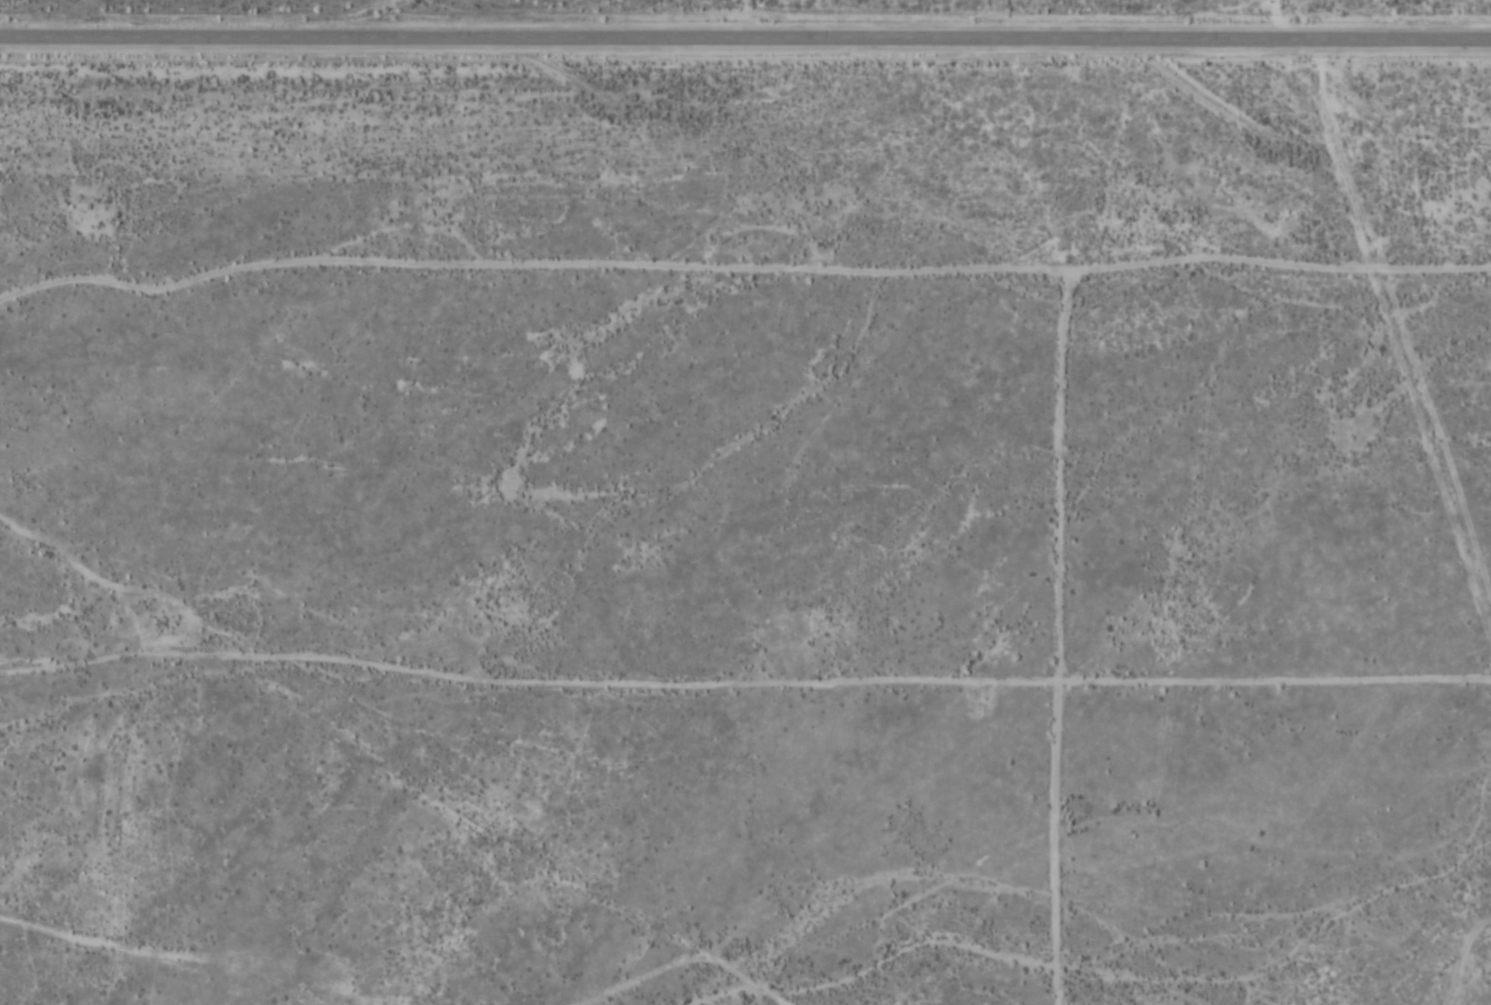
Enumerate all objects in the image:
road: (745, 39)
road: (1069, 456)

